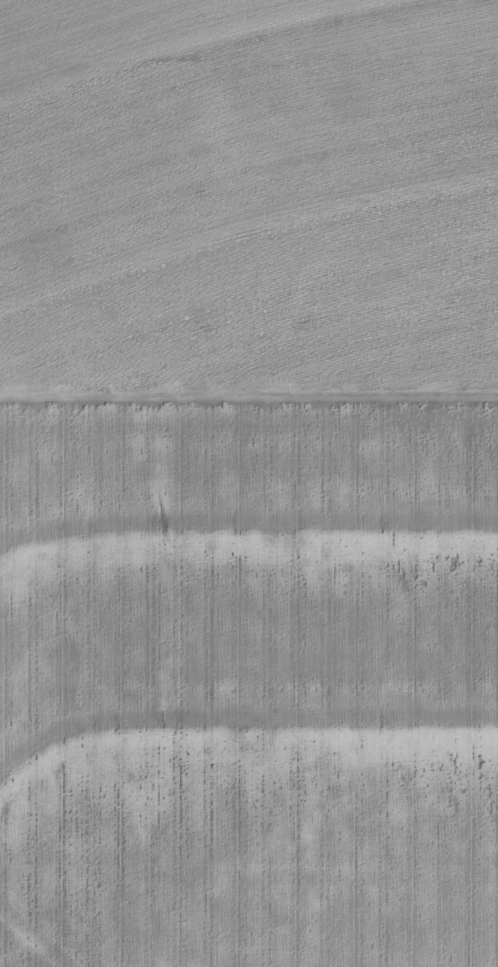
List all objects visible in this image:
road: (249, 394)

